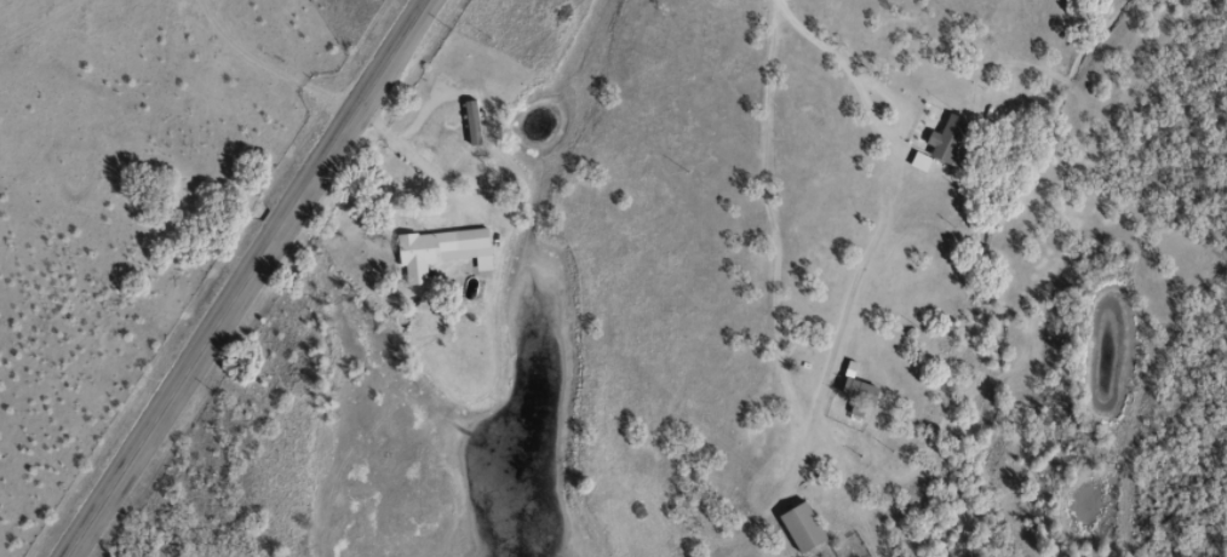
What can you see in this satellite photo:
road: (208, 109)
building: (469, 121)
building: (944, 142)
road: (784, 205)
building: (437, 249)
road: (247, 274)
building: (854, 386)
building: (798, 526)

